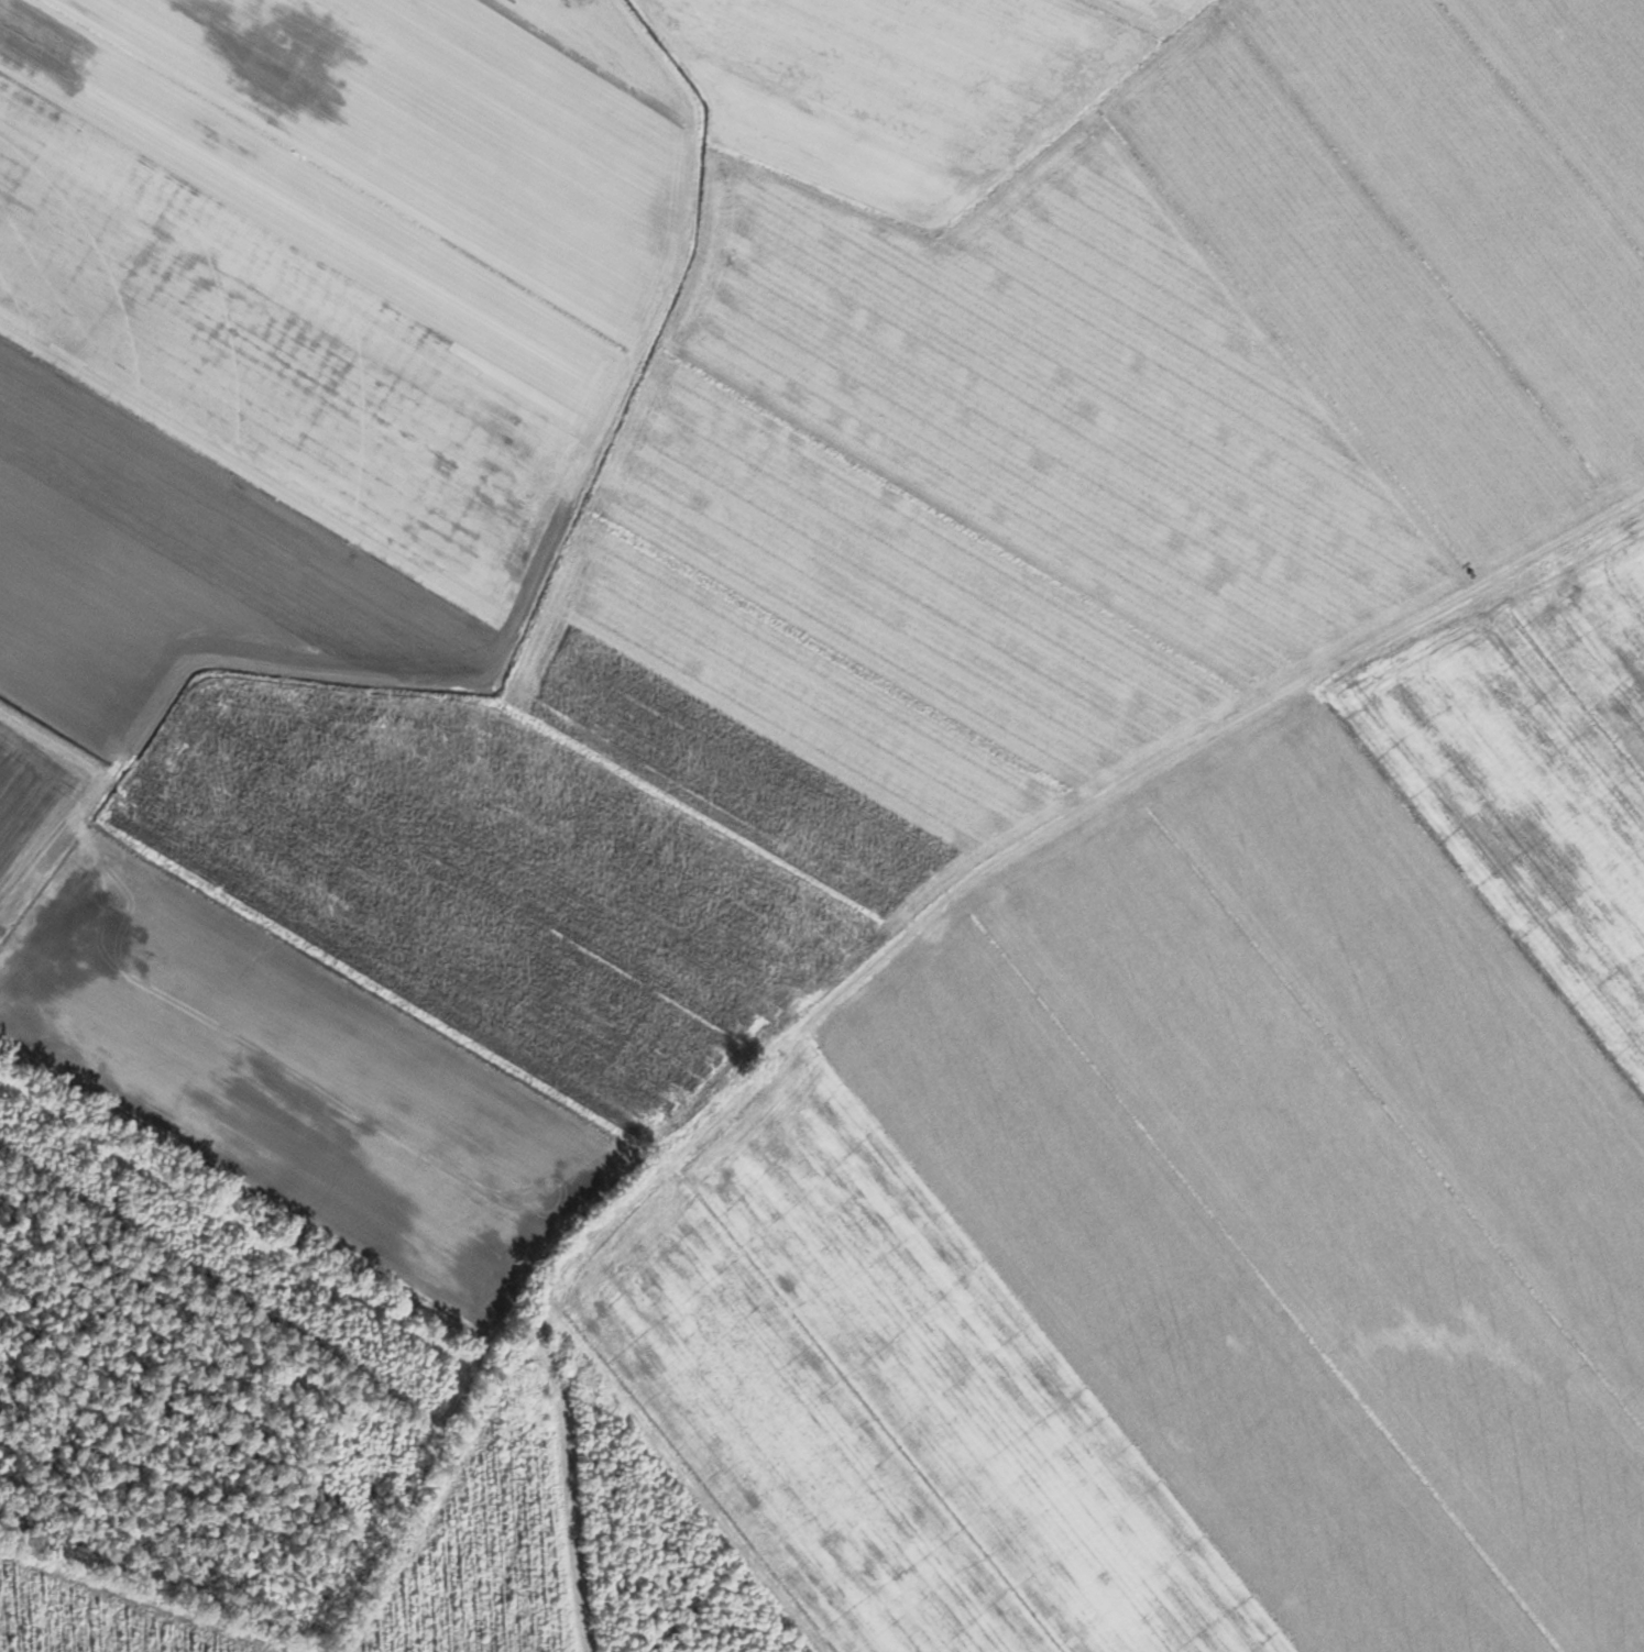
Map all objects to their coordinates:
building: (68, 888)

